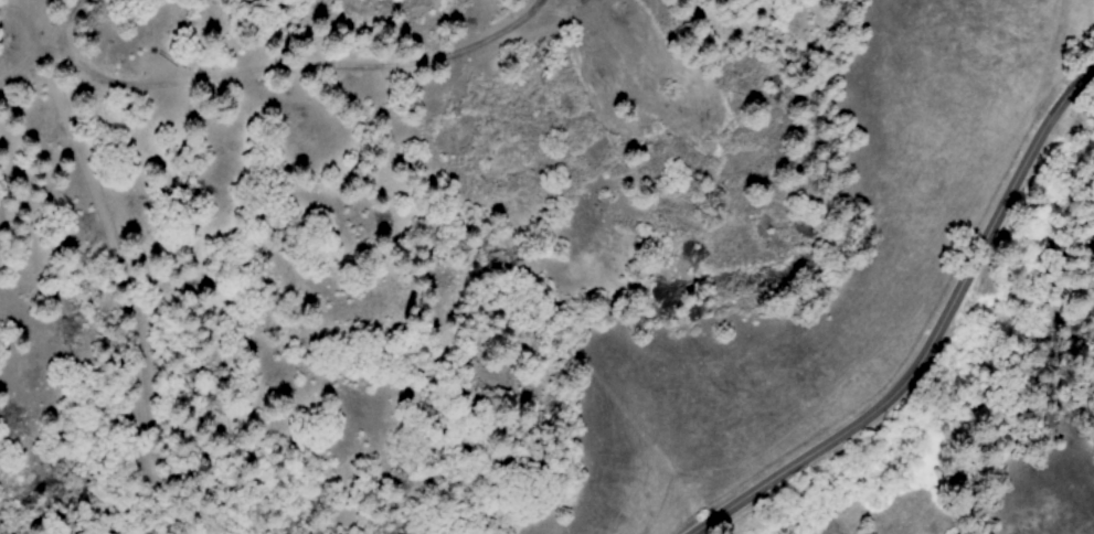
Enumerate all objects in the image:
road: (936, 332)

